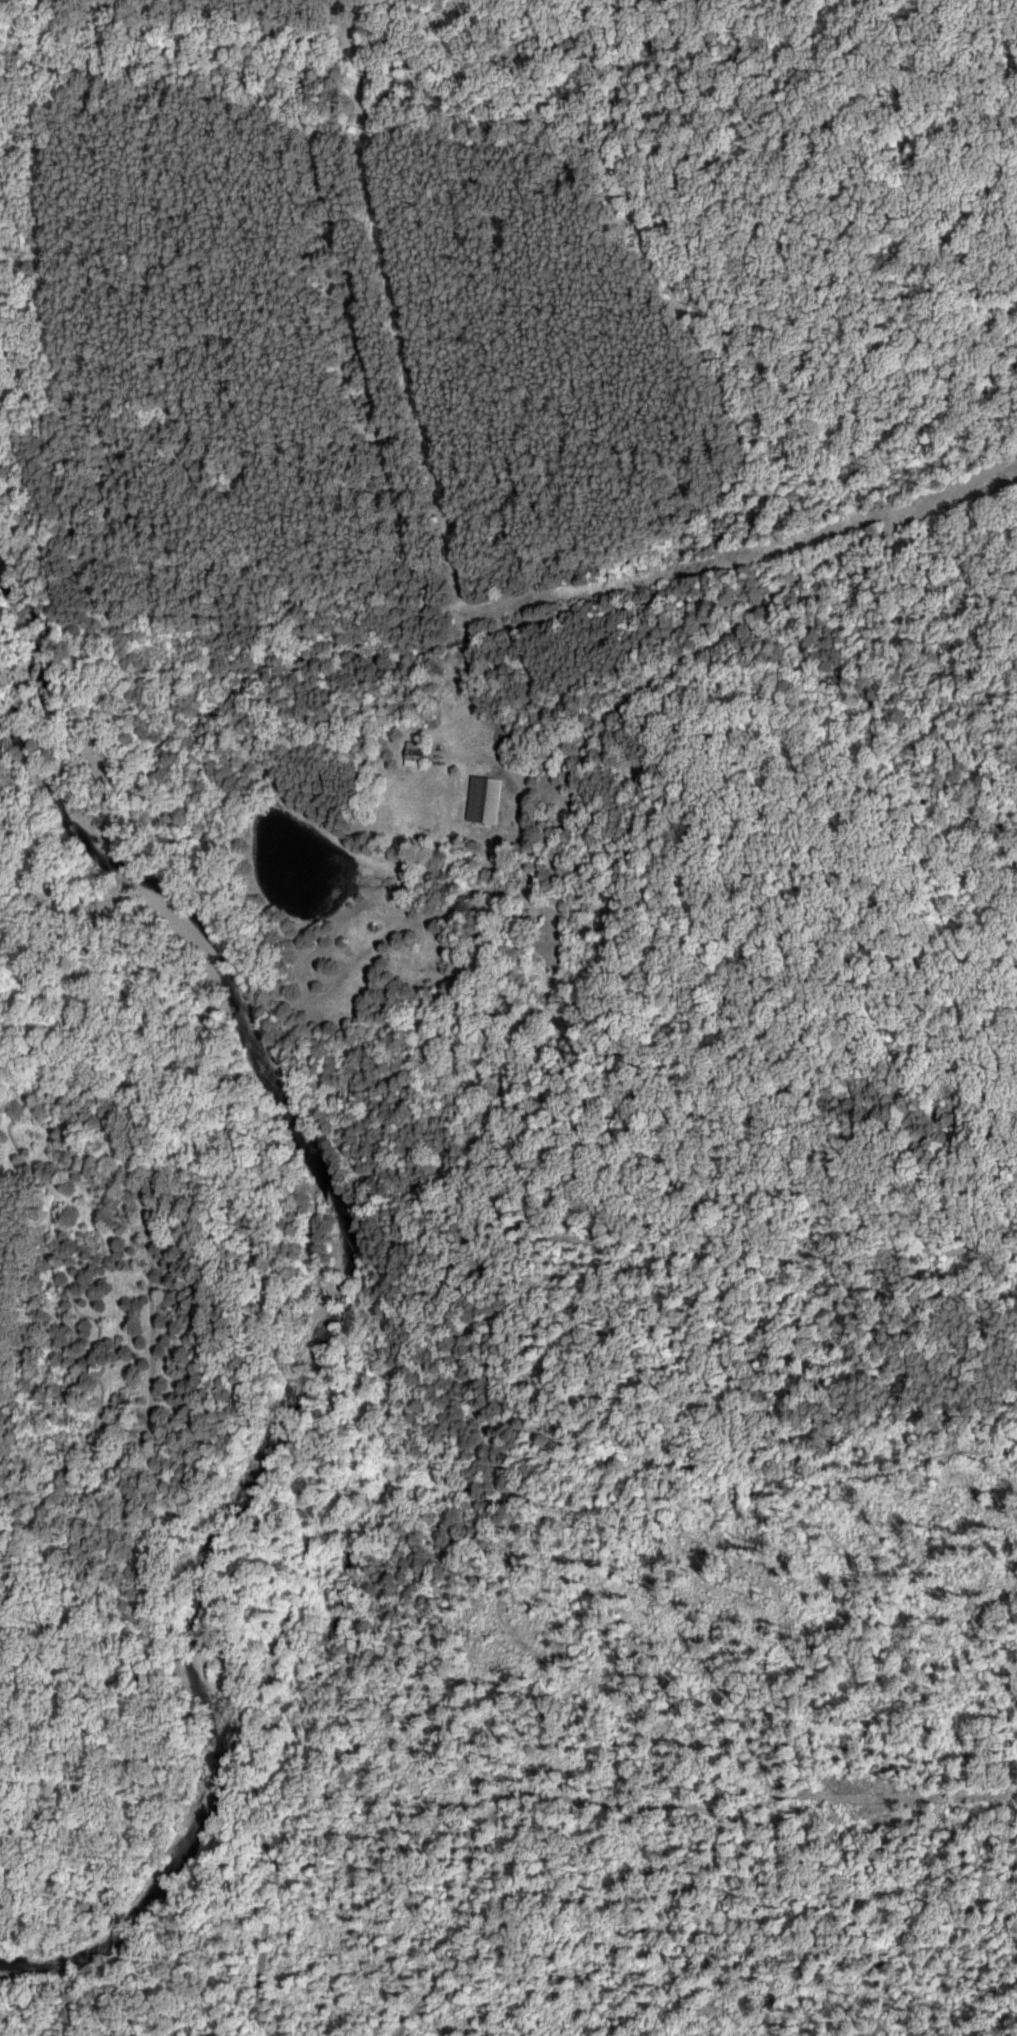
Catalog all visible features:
road: (738, 620)
building: (489, 797)

